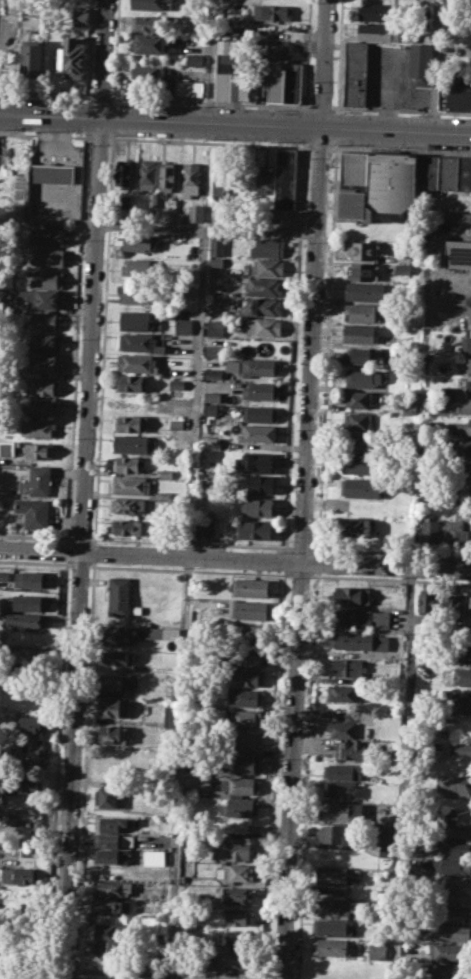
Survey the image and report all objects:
building: (230, 0)
building: (469, 1)
building: (151, 4)
building: (270, 11)
building: (376, 12)
building: (81, 16)
building: (148, 22)
building: (386, 32)
building: (149, 43)
road: (89, 46)
road: (307, 53)
road: (340, 56)
building: (32, 57)
building: (72, 58)
road: (103, 58)
building: (193, 59)
road: (210, 60)
road: (324, 63)
building: (420, 64)
road: (436, 65)
building: (232, 71)
building: (355, 73)
building: (166, 81)
building: (293, 82)
building: (276, 83)
building: (458, 92)
road: (48, 94)
road: (102, 95)
road: (212, 102)
road: (322, 107)
road: (305, 108)
road: (400, 110)
road: (235, 122)
road: (303, 126)
road: (337, 129)
road: (45, 134)
road: (99, 137)
road: (209, 142)
road: (321, 147)
road: (401, 151)
road: (76, 168)
building: (355, 168)
building: (427, 171)
building: (262, 172)
building: (448, 172)
building: (51, 173)
building: (123, 173)
building: (464, 173)
building: (147, 174)
building: (166, 176)
building: (285, 178)
building: (190, 179)
building: (221, 183)
building: (392, 184)
building: (152, 199)
building: (124, 202)
building: (172, 205)
building: (354, 205)
building: (195, 213)
building: (449, 216)
road: (257, 230)
building: (47, 235)
building: (139, 242)
building: (216, 246)
building: (267, 247)
building: (362, 250)
building: (458, 253)
building: (47, 257)
building: (215, 263)
building: (139, 267)
building: (267, 267)
building: (362, 271)
building: (46, 278)
building: (263, 287)
building: (363, 290)
building: (138, 292)
building: (41, 298)
building: (264, 307)
building: (362, 312)
building: (137, 320)
building: (43, 321)
building: (183, 325)
building: (263, 326)
building: (215, 327)
building: (359, 332)
building: (139, 340)
building: (44, 342)
building: (465, 344)
road: (293, 347)
building: (266, 349)
building: (213, 350)
road: (327, 350)
building: (360, 355)
building: (44, 363)
building: (136, 363)
building: (232, 365)
building: (469, 365)
building: (259, 366)
building: (213, 374)
building: (364, 377)
building: (131, 383)
building: (176, 383)
building: (468, 383)
building: (43, 387)
building: (260, 390)
building: (212, 396)
building: (358, 399)
building: (466, 405)
building: (40, 406)
building: (212, 409)
building: (259, 413)
building: (357, 420)
building: (131, 423)
building: (175, 423)
building: (461, 426)
building: (40, 428)
building: (428, 428)
building: (257, 433)
building: (357, 442)
building: (134, 443)
building: (461, 447)
building: (38, 450)
building: (256, 461)
building: (126, 463)
building: (359, 464)
building: (467, 468)
building: (35, 481)
building: (258, 483)
building: (130, 485)
building: (360, 488)
building: (465, 490)
building: (128, 505)
building: (257, 506)
building: (463, 510)
building: (33, 511)
building: (126, 526)
building: (358, 526)
building: (203, 528)
building: (254, 529)
building: (430, 531)
building: (457, 532)
road: (82, 547)
road: (186, 552)
road: (302, 552)
road: (235, 559)
road: (285, 561)
road: (317, 562)
building: (4, 576)
building: (31, 578)
building: (251, 587)
building: (119, 595)
building: (352, 595)
building: (426, 600)
building: (28, 601)
building: (454, 605)
building: (469, 607)
building: (248, 609)
building: (361, 617)
building: (25, 619)
building: (154, 632)
building: (464, 632)
building: (250, 634)
building: (114, 635)
building: (360, 641)
building: (461, 653)
building: (29, 655)
building: (248, 658)
building: (120, 659)
building: (348, 667)
building: (460, 676)
building: (249, 678)
building: (117, 682)
building: (343, 692)
building: (245, 697)
building: (459, 702)
building: (112, 706)
building: (171, 715)
building: (243, 717)
building: (30, 722)
building: (340, 728)
building: (110, 733)
building: (242, 740)
building: (30, 747)
building: (460, 748)
building: (357, 749)
building: (247, 764)
building: (343, 771)
road: (401, 773)
road: (274, 774)
road: (306, 775)
building: (30, 785)
building: (204, 785)
building: (454, 785)
building: (236, 786)
building: (12, 787)
building: (341, 788)
building: (109, 796)
building: (0, 798)
building: (240, 808)
building: (334, 810)
building: (457, 816)
building: (114, 822)
building: (457, 831)
building: (337, 833)
building: (113, 840)
building: (386, 843)
building: (455, 849)
building: (234, 852)
building: (110, 856)
building: (153, 857)
building: (451, 865)
building: (236, 872)
building: (26, 875)
building: (333, 875)
building: (455, 881)
building: (108, 887)
building: (237, 894)
building: (454, 897)
building: (114, 905)
building: (334, 907)
building: (456, 914)
building: (237, 916)
building: (106, 927)
building: (331, 927)
building: (150, 929)
building: (450, 932)
building: (234, 937)
building: (332, 947)
building: (377, 950)
building: (449, 951)
building: (232, 960)
building: (448, 970)

